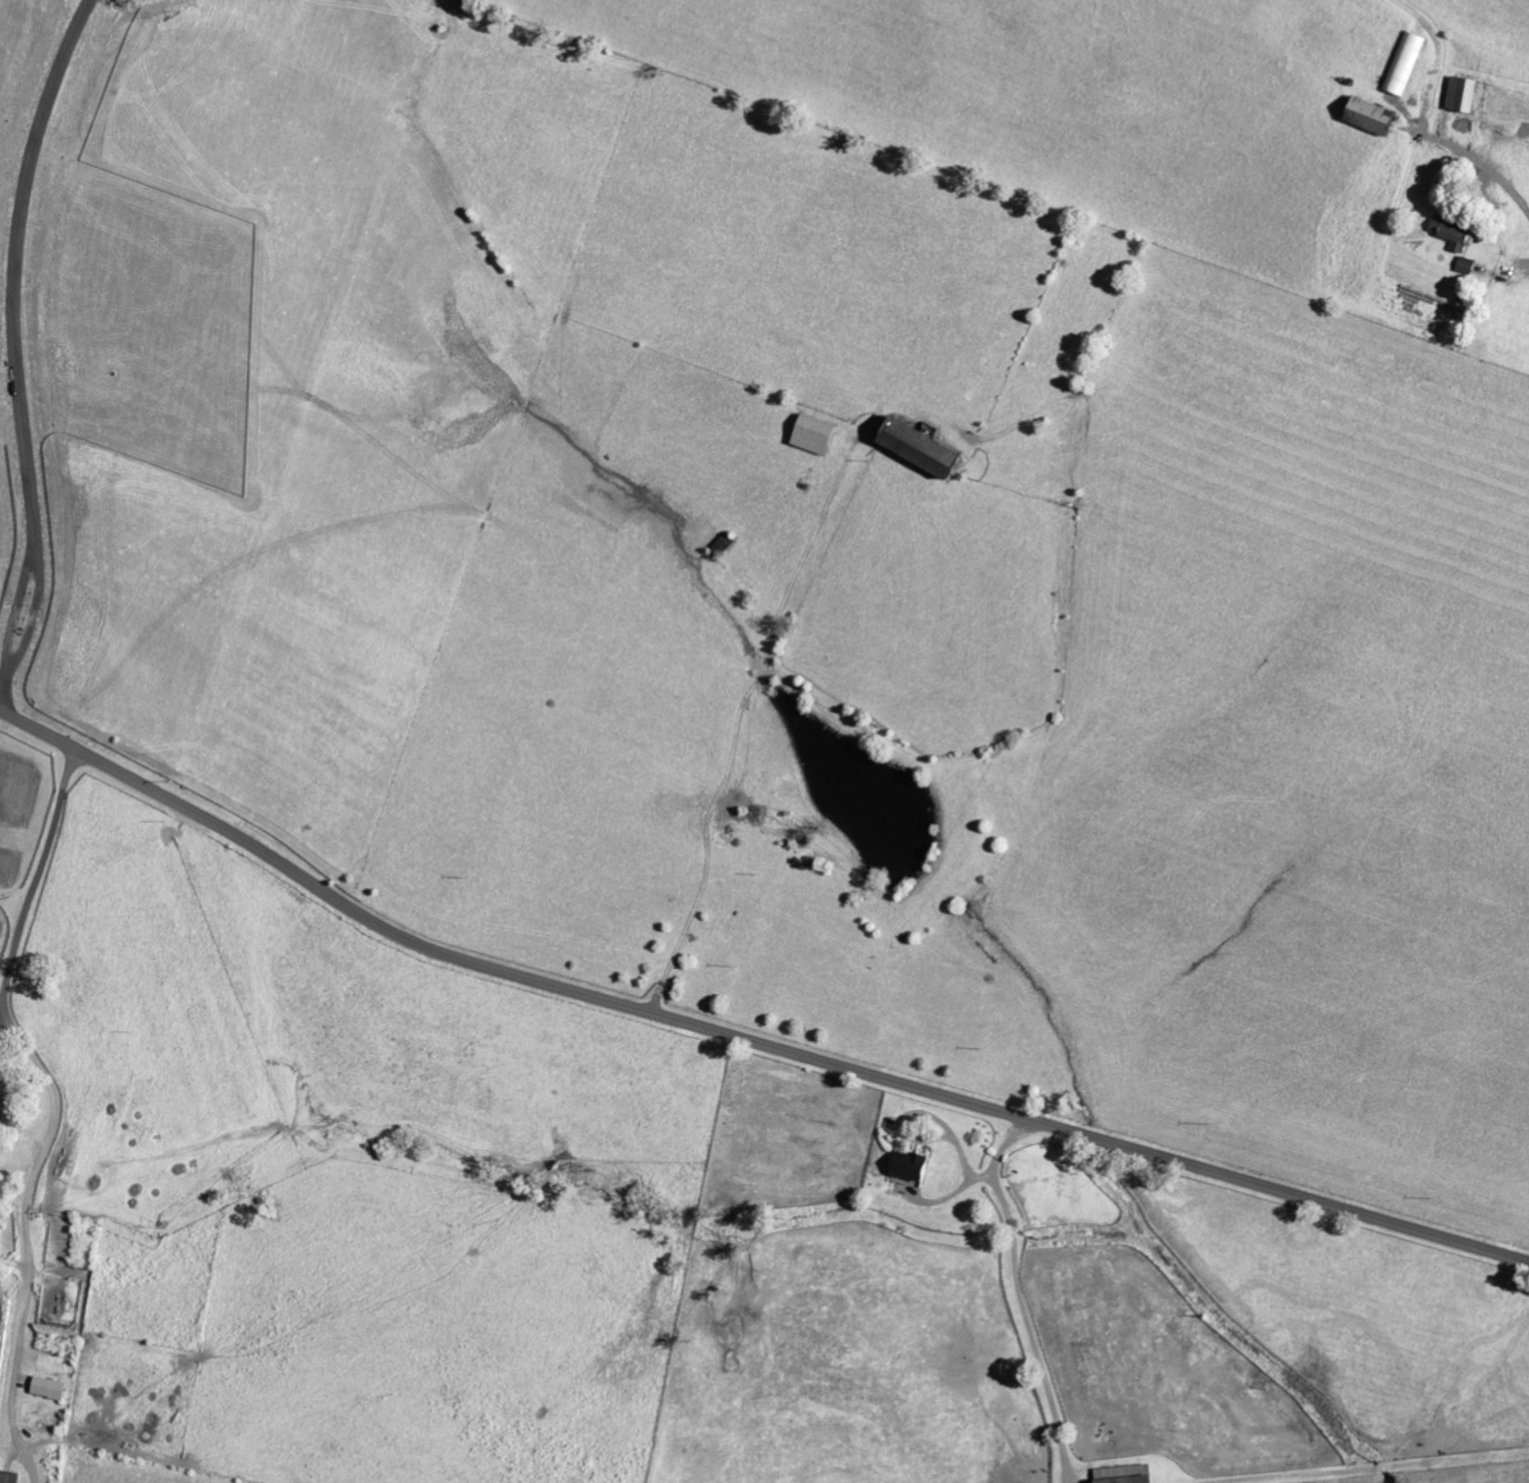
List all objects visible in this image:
building: (1407, 61)
building: (1464, 93)
building: (1374, 115)
road: (1485, 166)
building: (1454, 232)
building: (1468, 265)
road: (15, 271)
building: (815, 434)
building: (924, 446)
road: (16, 606)
road: (34, 610)
road: (6, 680)
road: (737, 725)
road: (742, 1036)
road: (53, 1107)
building: (912, 1165)
road: (1020, 1293)
building: (49, 1388)
building: (1128, 1474)
building: (9, 1477)

